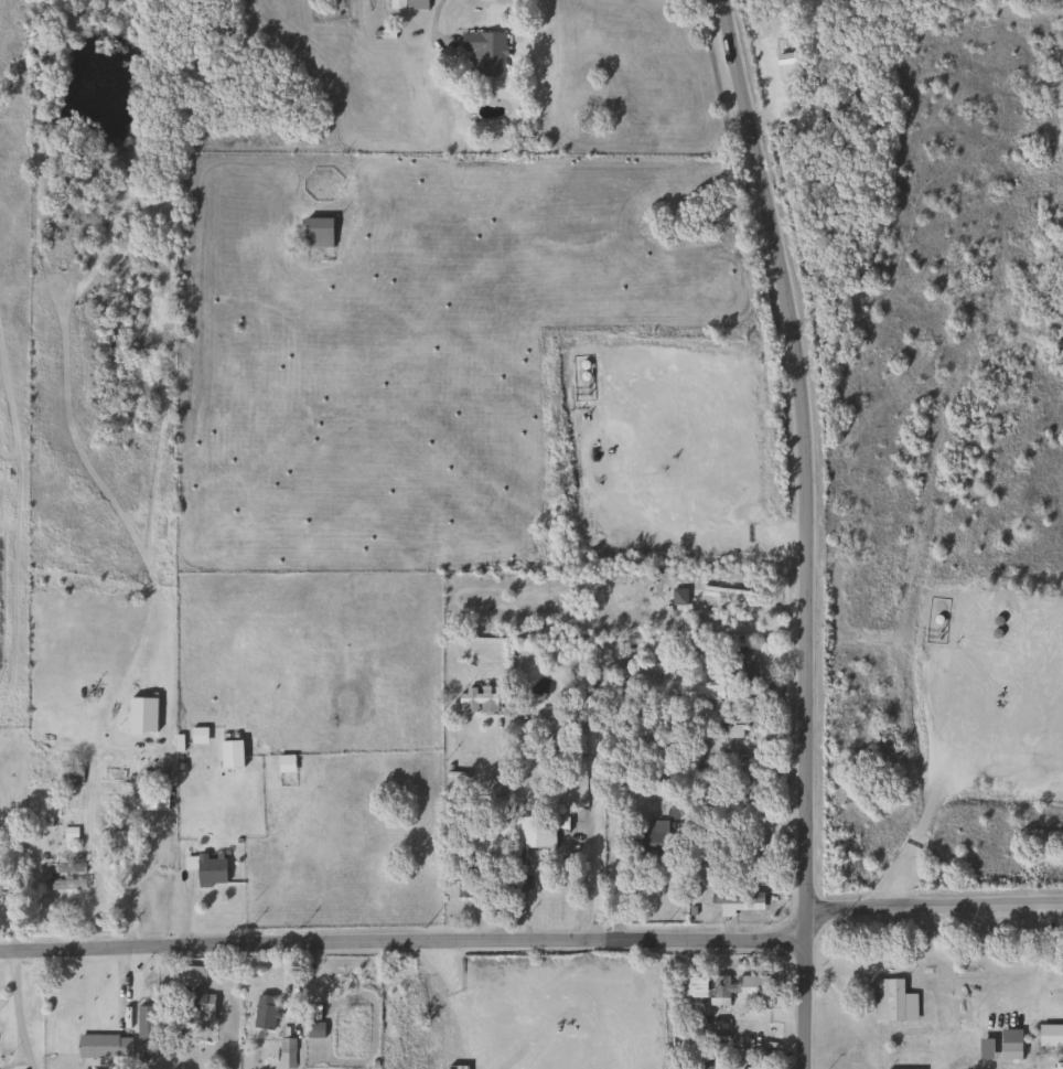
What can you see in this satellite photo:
building: (407, 4)
road: (707, 11)
road: (432, 22)
building: (484, 53)
building: (316, 233)
road: (934, 481)
road: (807, 530)
building: (686, 587)
building: (743, 665)
building: (634, 670)
building: (477, 703)
building: (743, 719)
building: (198, 736)
building: (286, 763)
building: (150, 800)
road: (928, 812)
road: (88, 815)
building: (540, 832)
building: (656, 832)
road: (595, 841)
building: (117, 845)
building: (738, 846)
building: (206, 868)
building: (63, 885)
building: (735, 901)
road: (935, 901)
road: (404, 934)
building: (740, 986)
building: (691, 987)
building: (194, 994)
building: (891, 1002)
road: (17, 1008)
building: (264, 1013)
building: (411, 1035)
building: (1050, 1036)
building: (103, 1047)
building: (1009, 1051)
building: (287, 1054)
road: (12, 1059)

